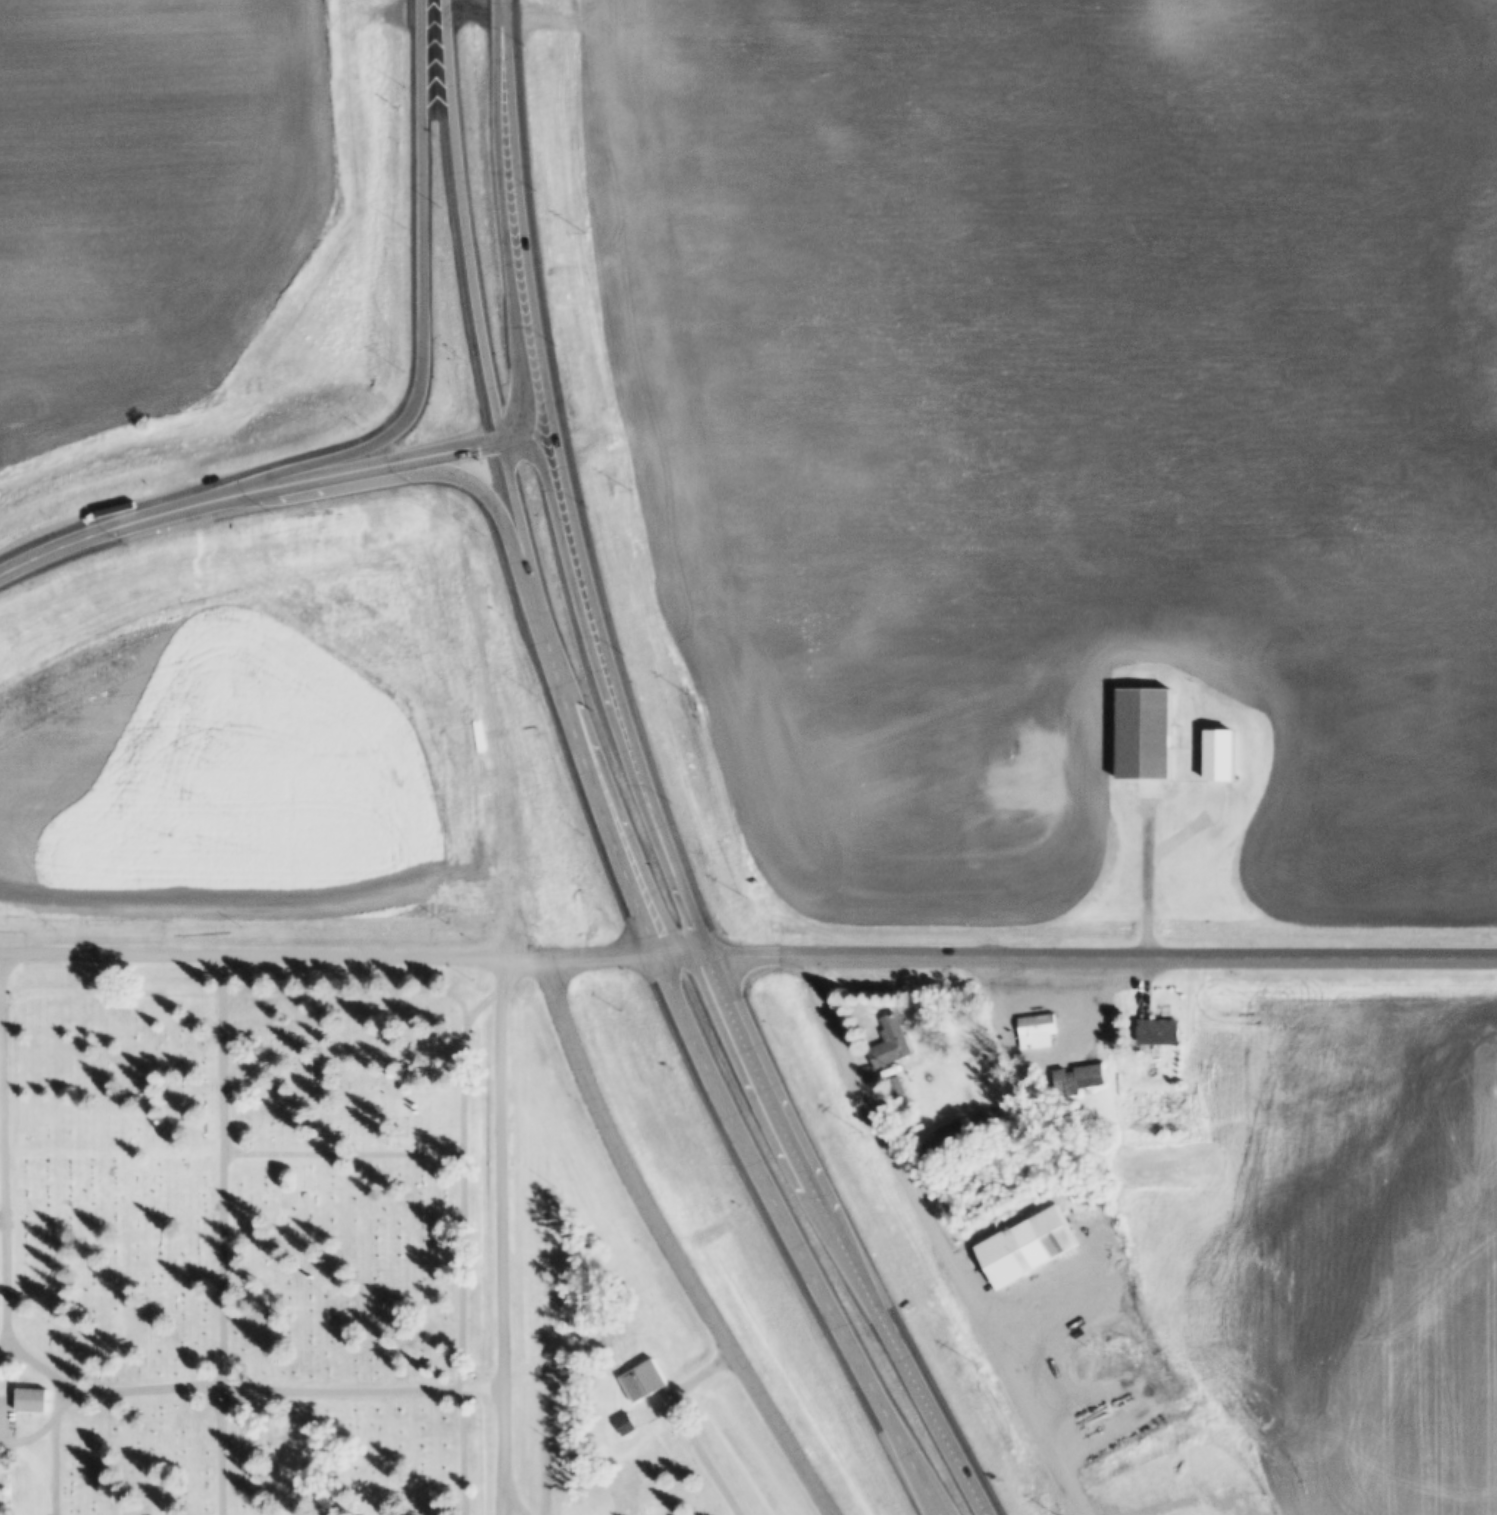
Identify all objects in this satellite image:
road: (480, 1)
street lamp: (525, 44)
street lamp: (538, 188)
road: (525, 219)
road: (473, 225)
street lamp: (562, 343)
road: (403, 425)
road: (533, 443)
street lamp: (423, 489)
road: (250, 492)
street lamp: (587, 505)
street lamp: (278, 513)
street lamp: (480, 537)
street lamp: (129, 544)
street lamp: (629, 658)
street lamp: (532, 693)
road: (619, 699)
road: (569, 706)
building: (1145, 733)
building: (1220, 754)
street lamp: (677, 802)
road: (625, 815)
road: (1167, 818)
street lamp: (583, 833)
road: (606, 954)
road: (673, 954)
road: (695, 954)
road: (275, 955)
road: (1101, 956)
road: (1, 982)
road: (320, 990)
building: (1036, 1030)
building: (1158, 1032)
building: (890, 1043)
building: (1142, 1058)
building: (1078, 1078)
building: (895, 1087)
building: (954, 1135)
road: (345, 1155)
road: (225, 1234)
road: (505, 1235)
road: (797, 1236)
road: (841, 1237)
road: (938, 1237)
road: (672, 1244)
building: (1028, 1245)
park: (325, 1264)
road: (44, 1365)
building: (643, 1380)
road: (684, 1385)
road: (283, 1387)
building: (31, 1399)
road: (31, 1437)
road: (706, 1456)
road: (58, 1464)
road: (41, 1468)
road: (634, 1468)
road: (1187, 1500)
road: (513, 1502)

